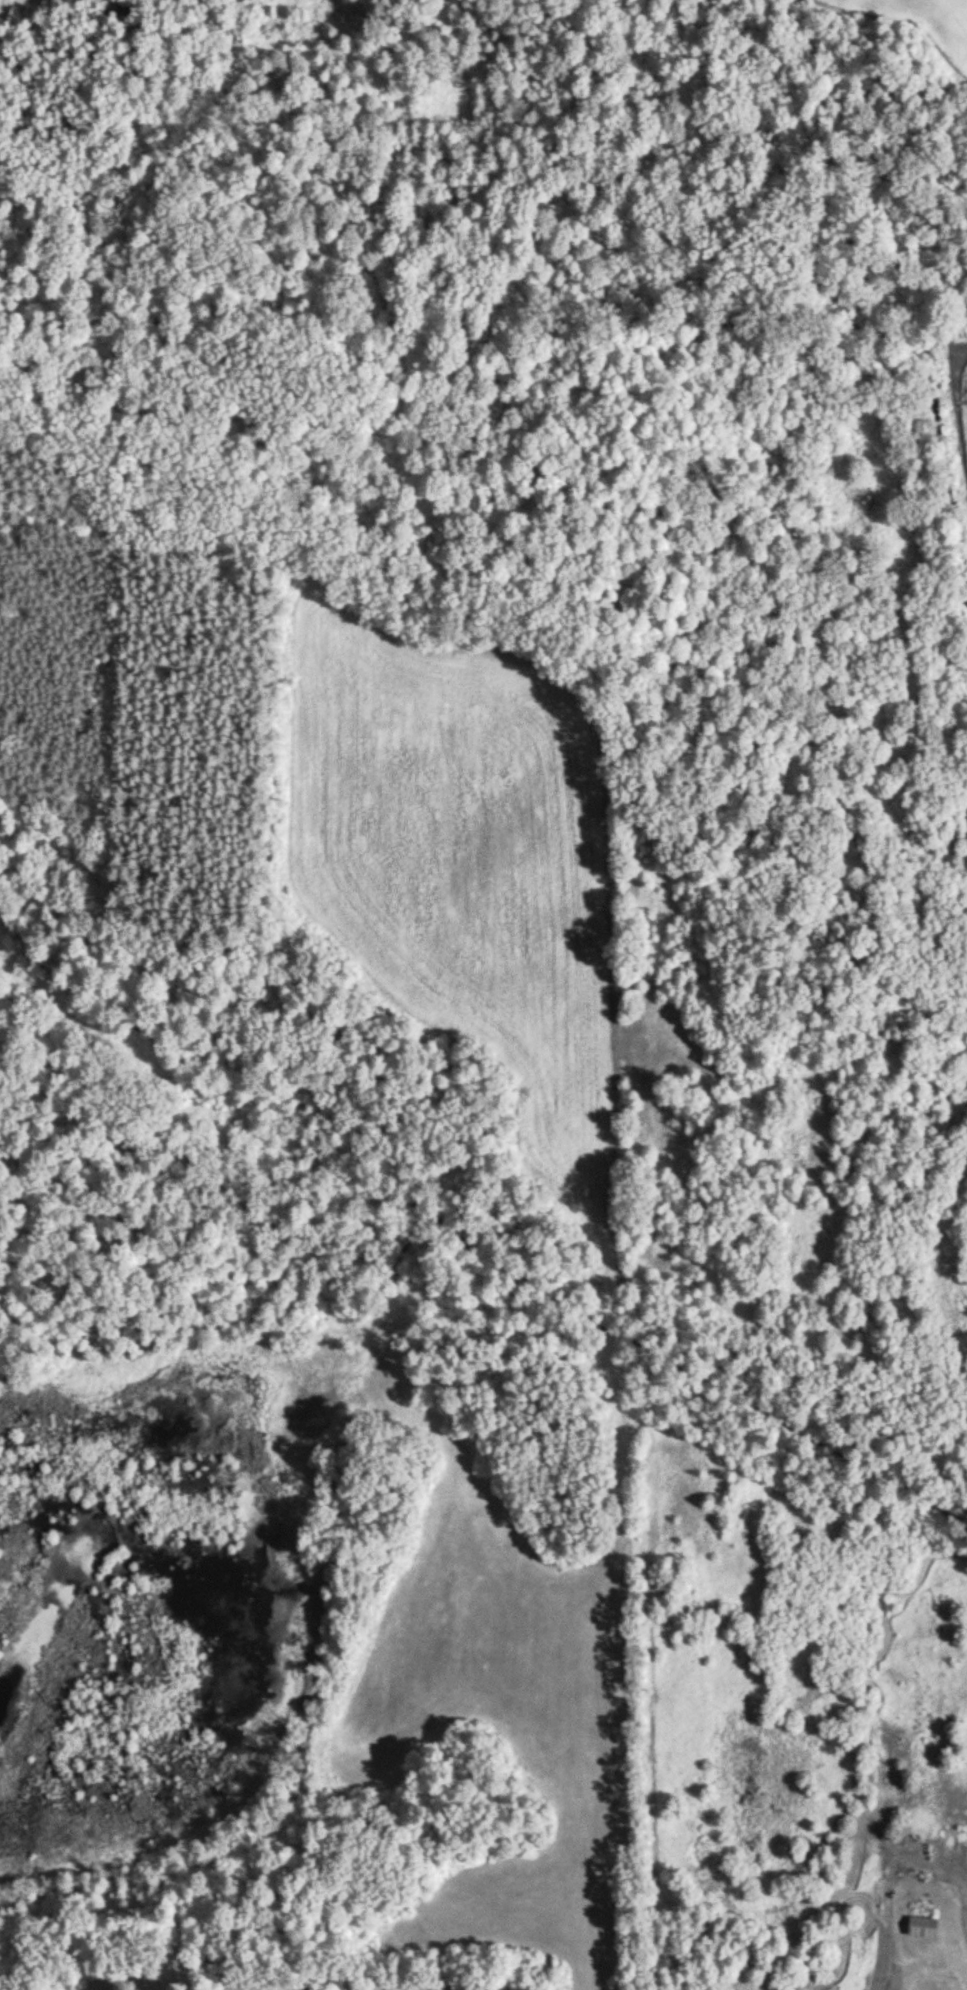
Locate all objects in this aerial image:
building: (922, 1928)
park: (166, 1973)
building: (463, 1989)
building: (509, 1989)

